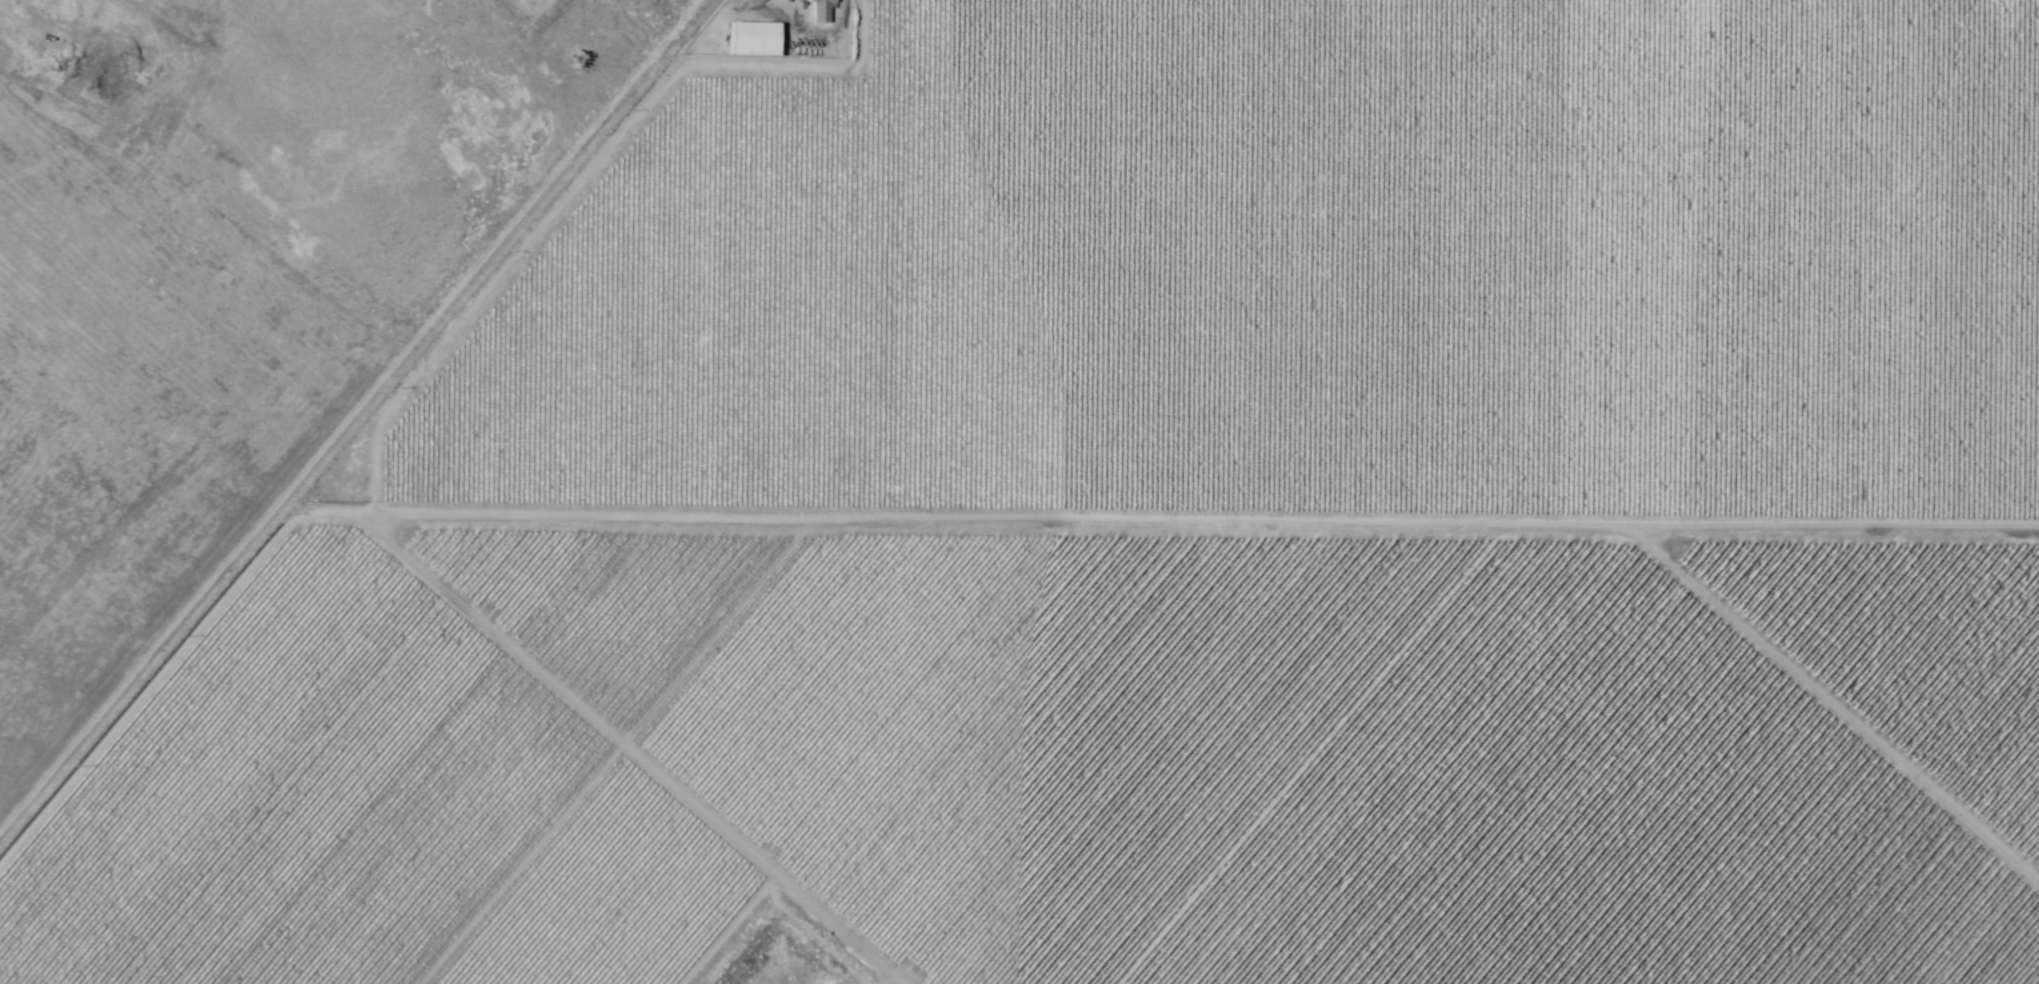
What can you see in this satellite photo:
building: (783, 1)
building: (822, 9)
building: (753, 38)
road: (408, 387)
road: (349, 412)
road: (590, 520)
road: (1123, 524)
crop: (1163, 529)
building: (442, 631)
building: (1700, 638)
road: (1835, 701)
road: (635, 752)
road: (1313, 755)
building: (1933, 843)
building: (1875, 927)
wastewater plant: (786, 978)
building: (1881, 979)

